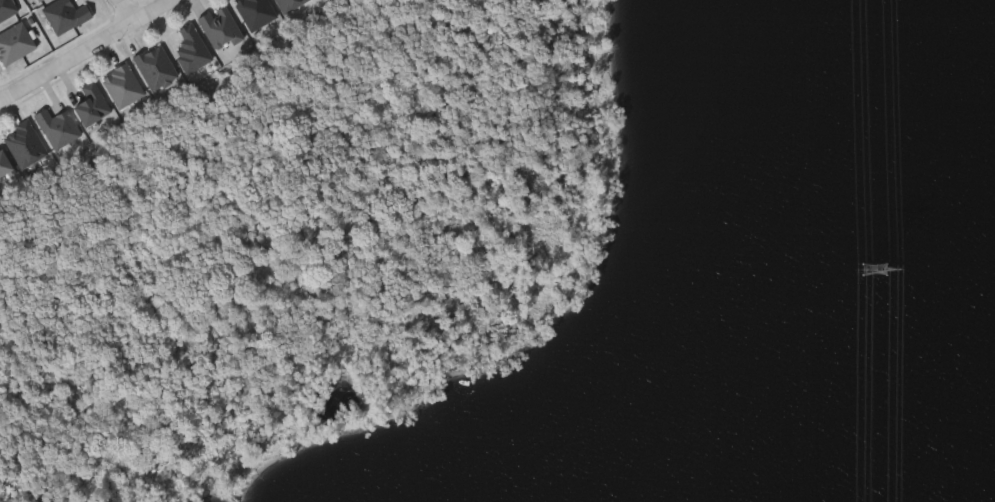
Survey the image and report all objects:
building: (42, 1)
building: (288, 4)
building: (7, 7)
road: (123, 9)
building: (256, 11)
building: (66, 13)
building: (221, 26)
building: (15, 41)
road: (79, 46)
building: (192, 48)
building: (156, 65)
building: (123, 83)
building: (91, 102)
building: (58, 125)
building: (25, 142)
building: (4, 161)
power tower: (876, 270)

